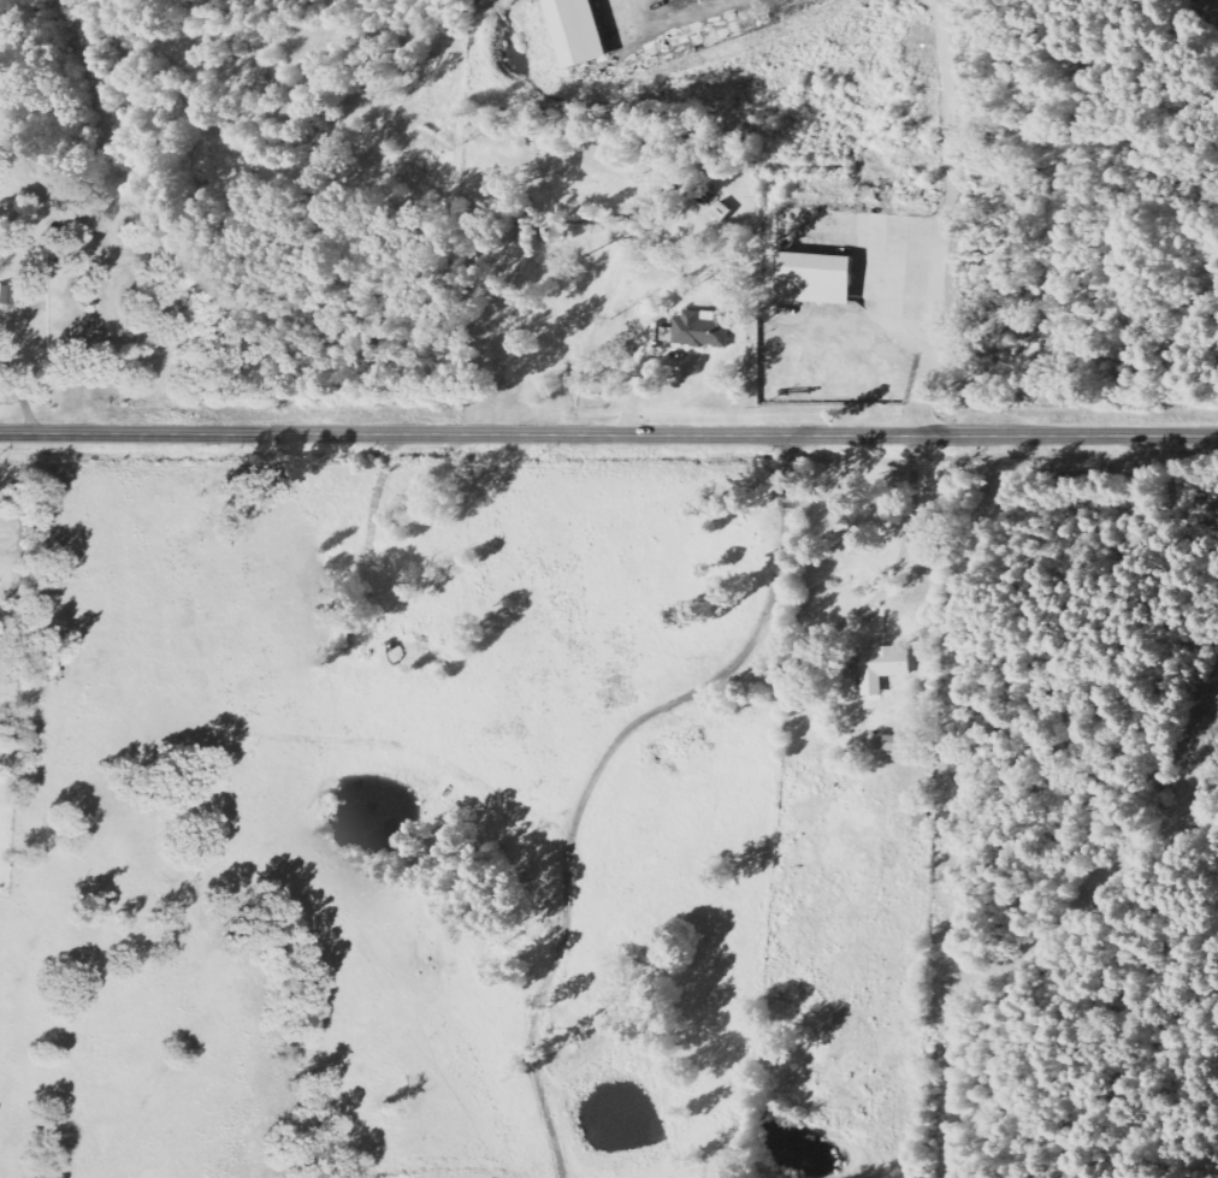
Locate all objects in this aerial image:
building: (586, 31)
building: (721, 217)
building: (822, 279)
building: (705, 330)
road: (608, 434)
road: (894, 569)
building: (345, 631)
building: (880, 668)
road: (598, 771)

